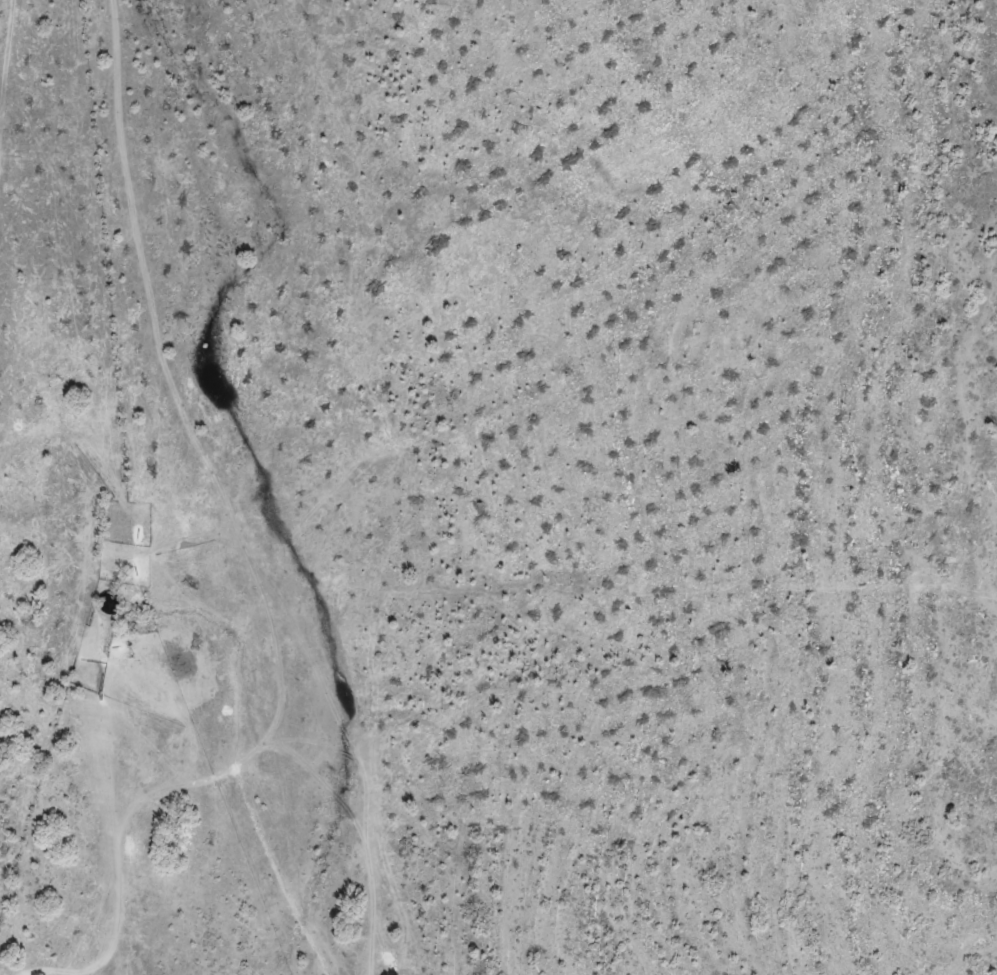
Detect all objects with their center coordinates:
road: (157, 861)

